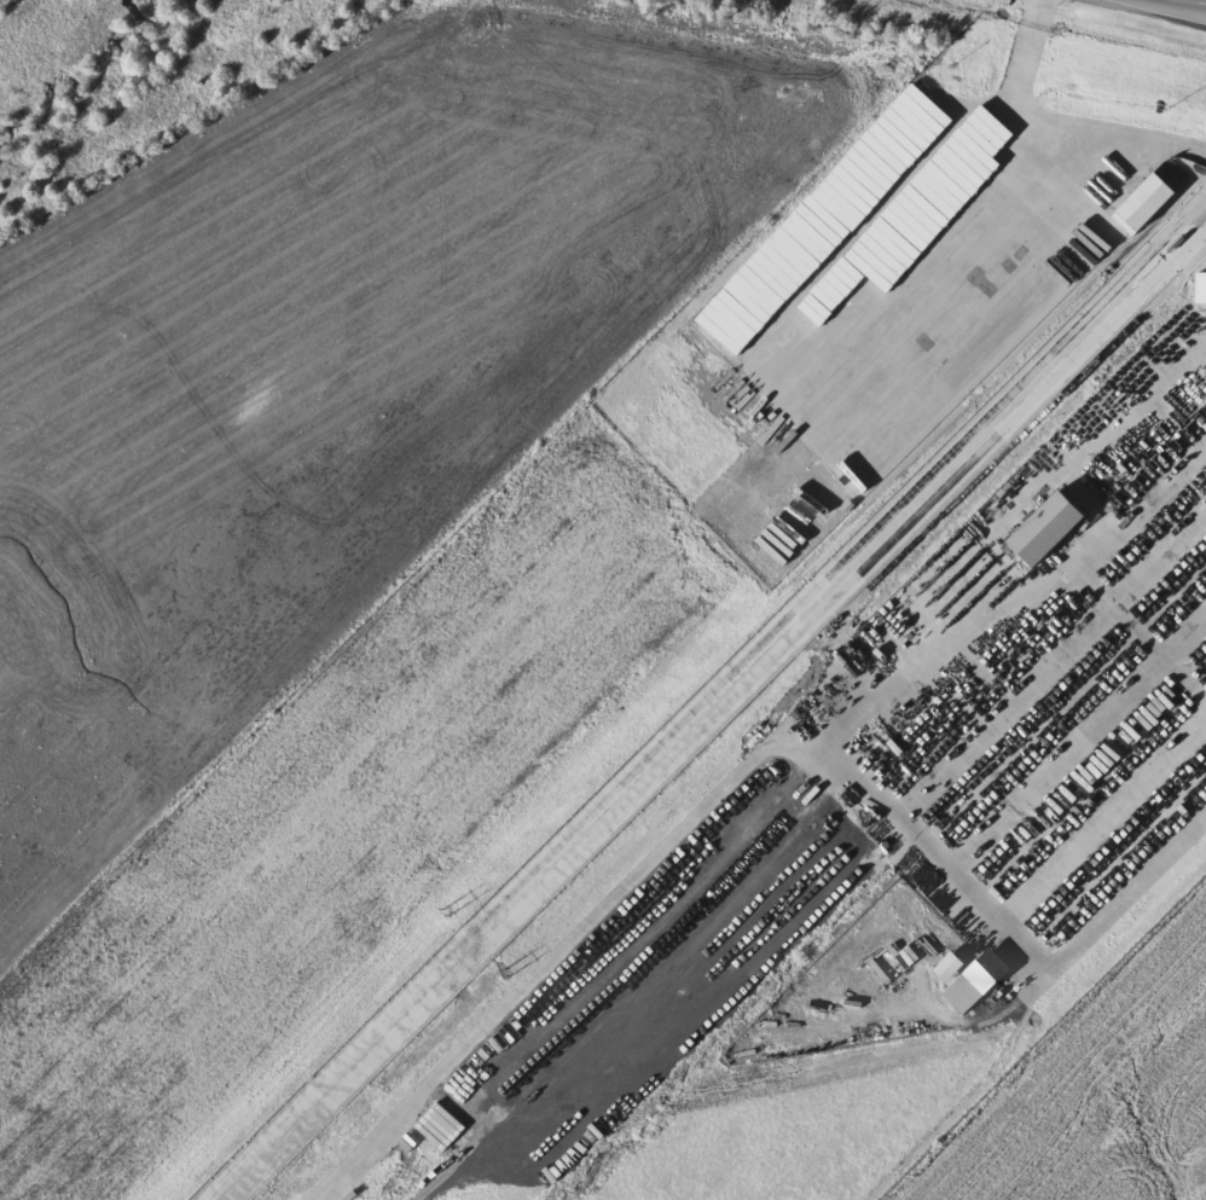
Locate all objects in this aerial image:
road: (1198, 1)
road: (1053, 118)
building: (1149, 201)
building: (982, 346)
building: (1050, 528)
road: (1125, 894)
building: (950, 966)
building: (979, 981)

